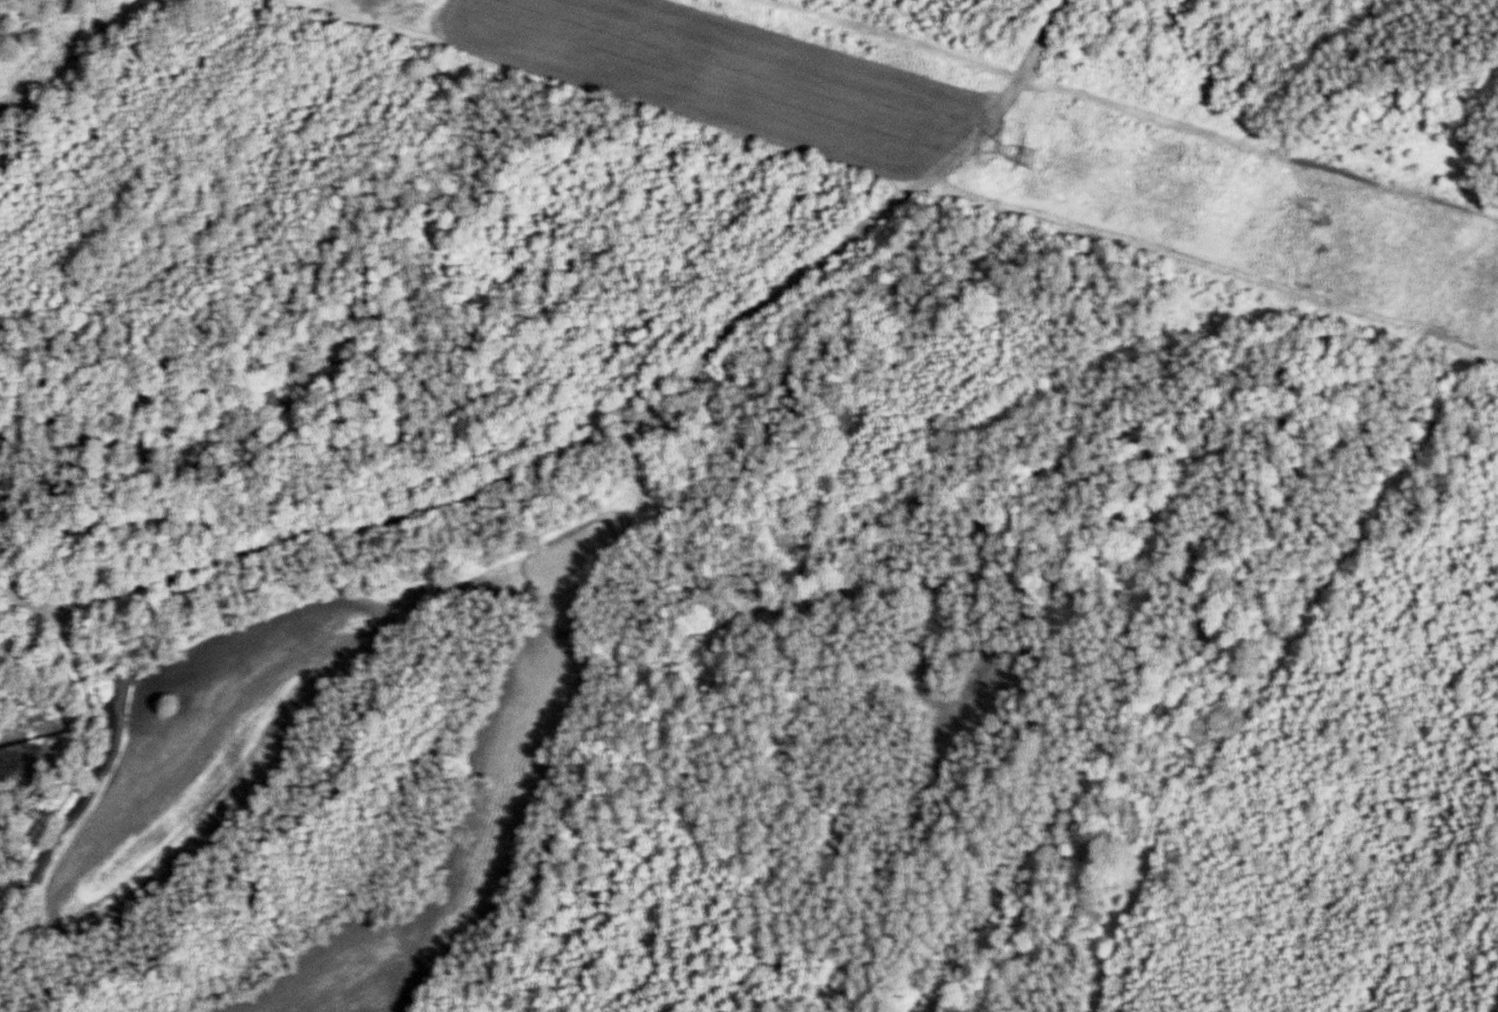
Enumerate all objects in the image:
power tower: (1030, 156)

